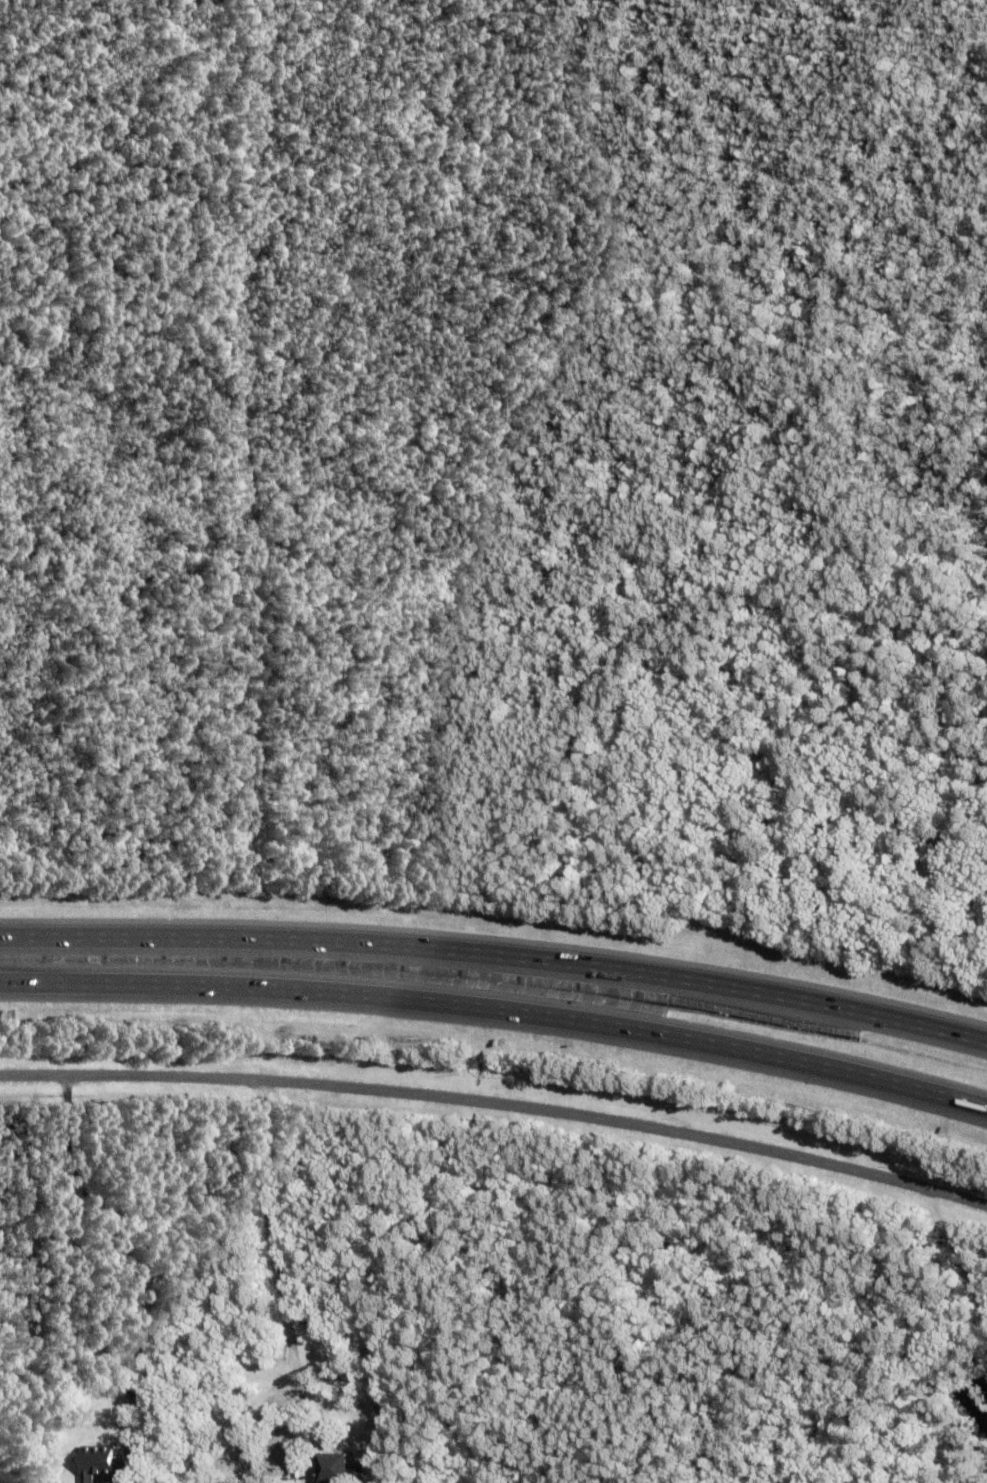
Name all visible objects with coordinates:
road: (497, 948)
road: (498, 1011)
road: (498, 1102)
road: (120, 1245)
road: (281, 1261)
building: (56, 1450)
building: (103, 1460)
building: (341, 1466)
building: (388, 1473)

